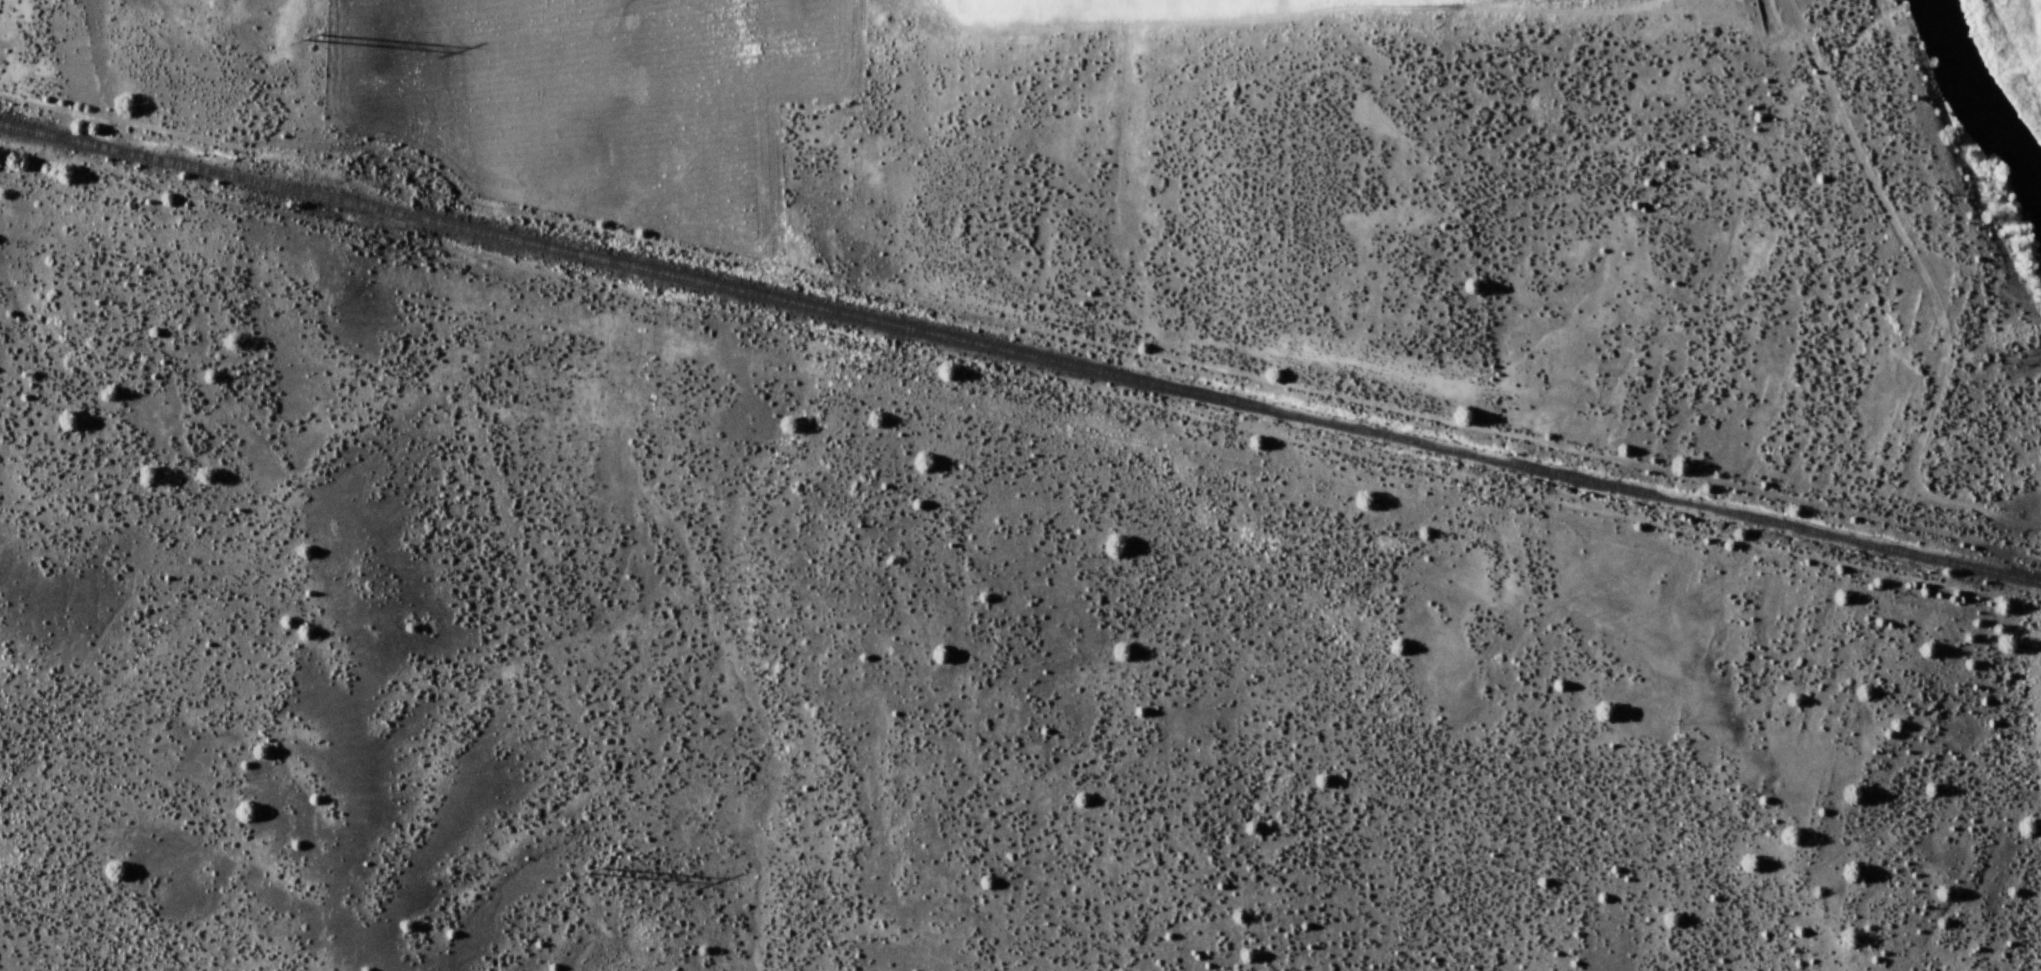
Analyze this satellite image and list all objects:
power tower: (314, 40)
river: (1990, 109)
railway: (1020, 355)
power tower: (597, 871)

